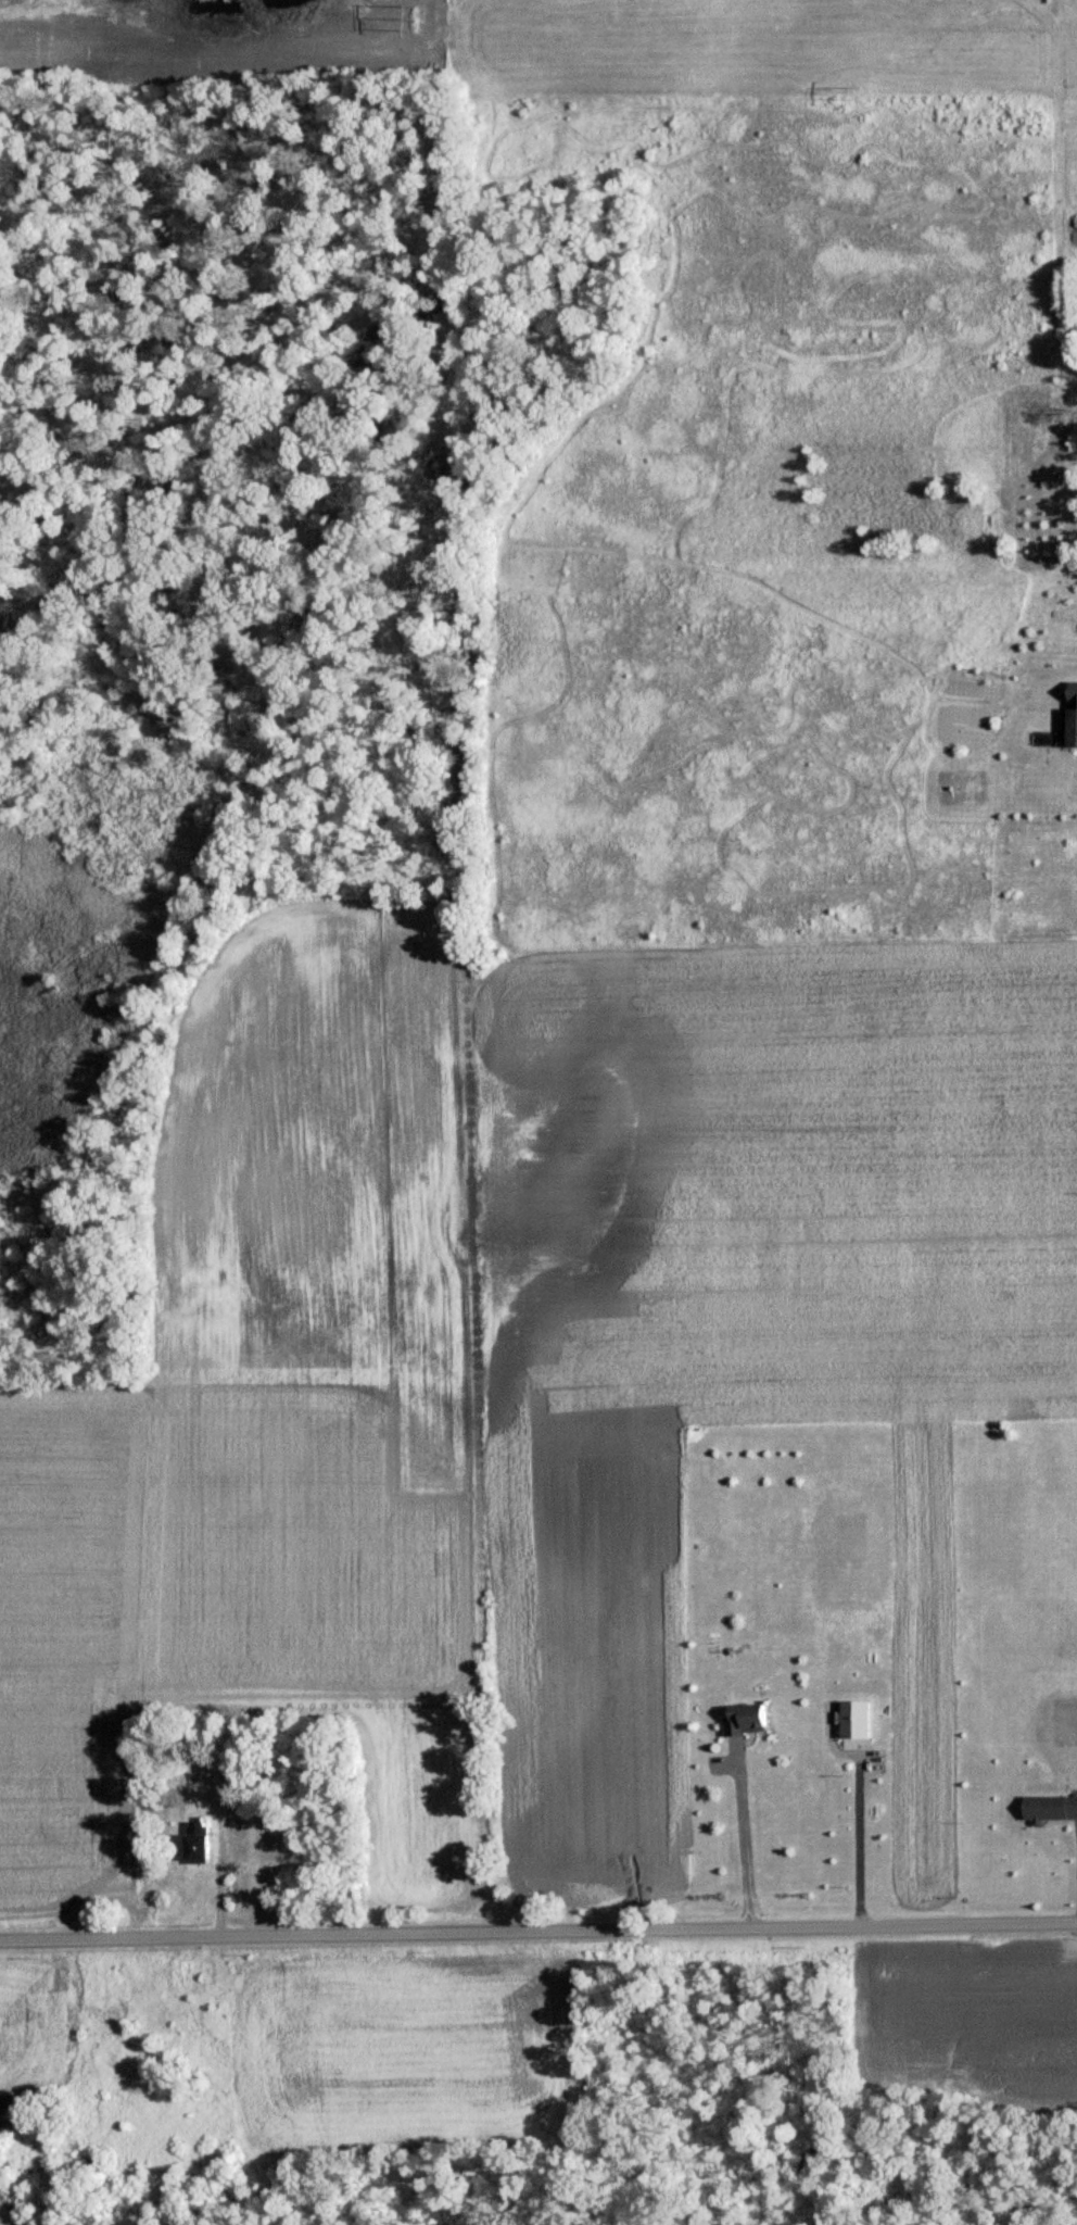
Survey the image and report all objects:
power tower: (418, 21)
power tower: (860, 92)
building: (1069, 718)
building: (744, 1717)
building: (851, 1717)
building: (1048, 1807)
building: (191, 1841)
road: (538, 1933)

